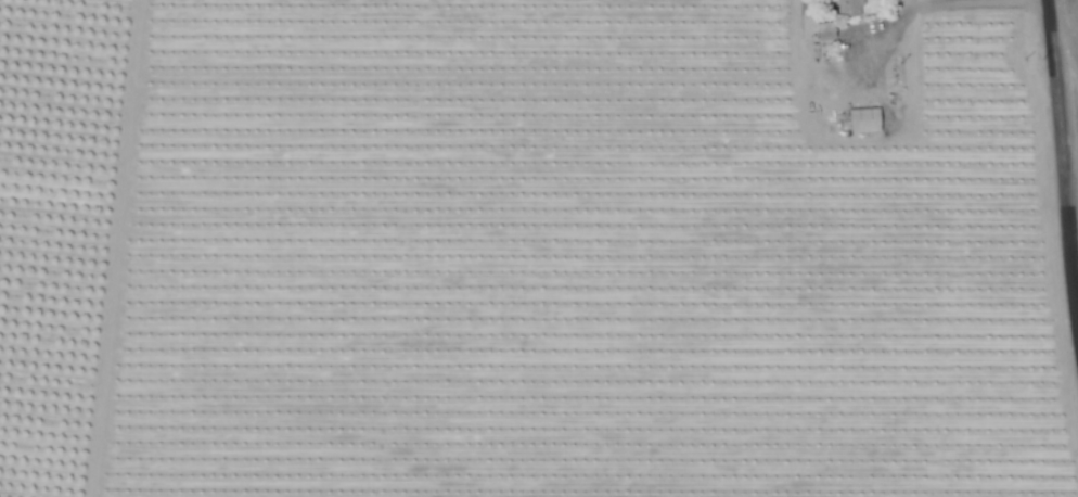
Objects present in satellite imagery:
road: (944, 3)
building: (847, 8)
road: (1063, 37)
building: (862, 119)
road: (1061, 162)
crop: (504, 252)

